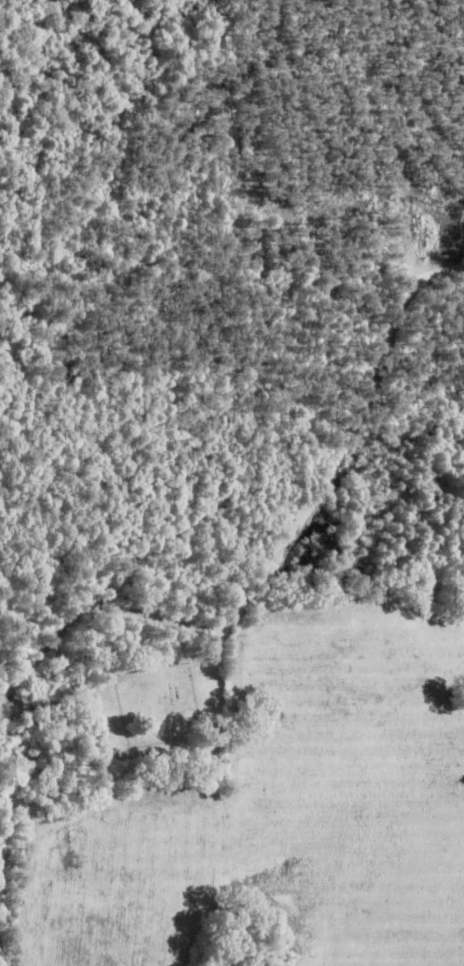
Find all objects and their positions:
road: (313, 476)

